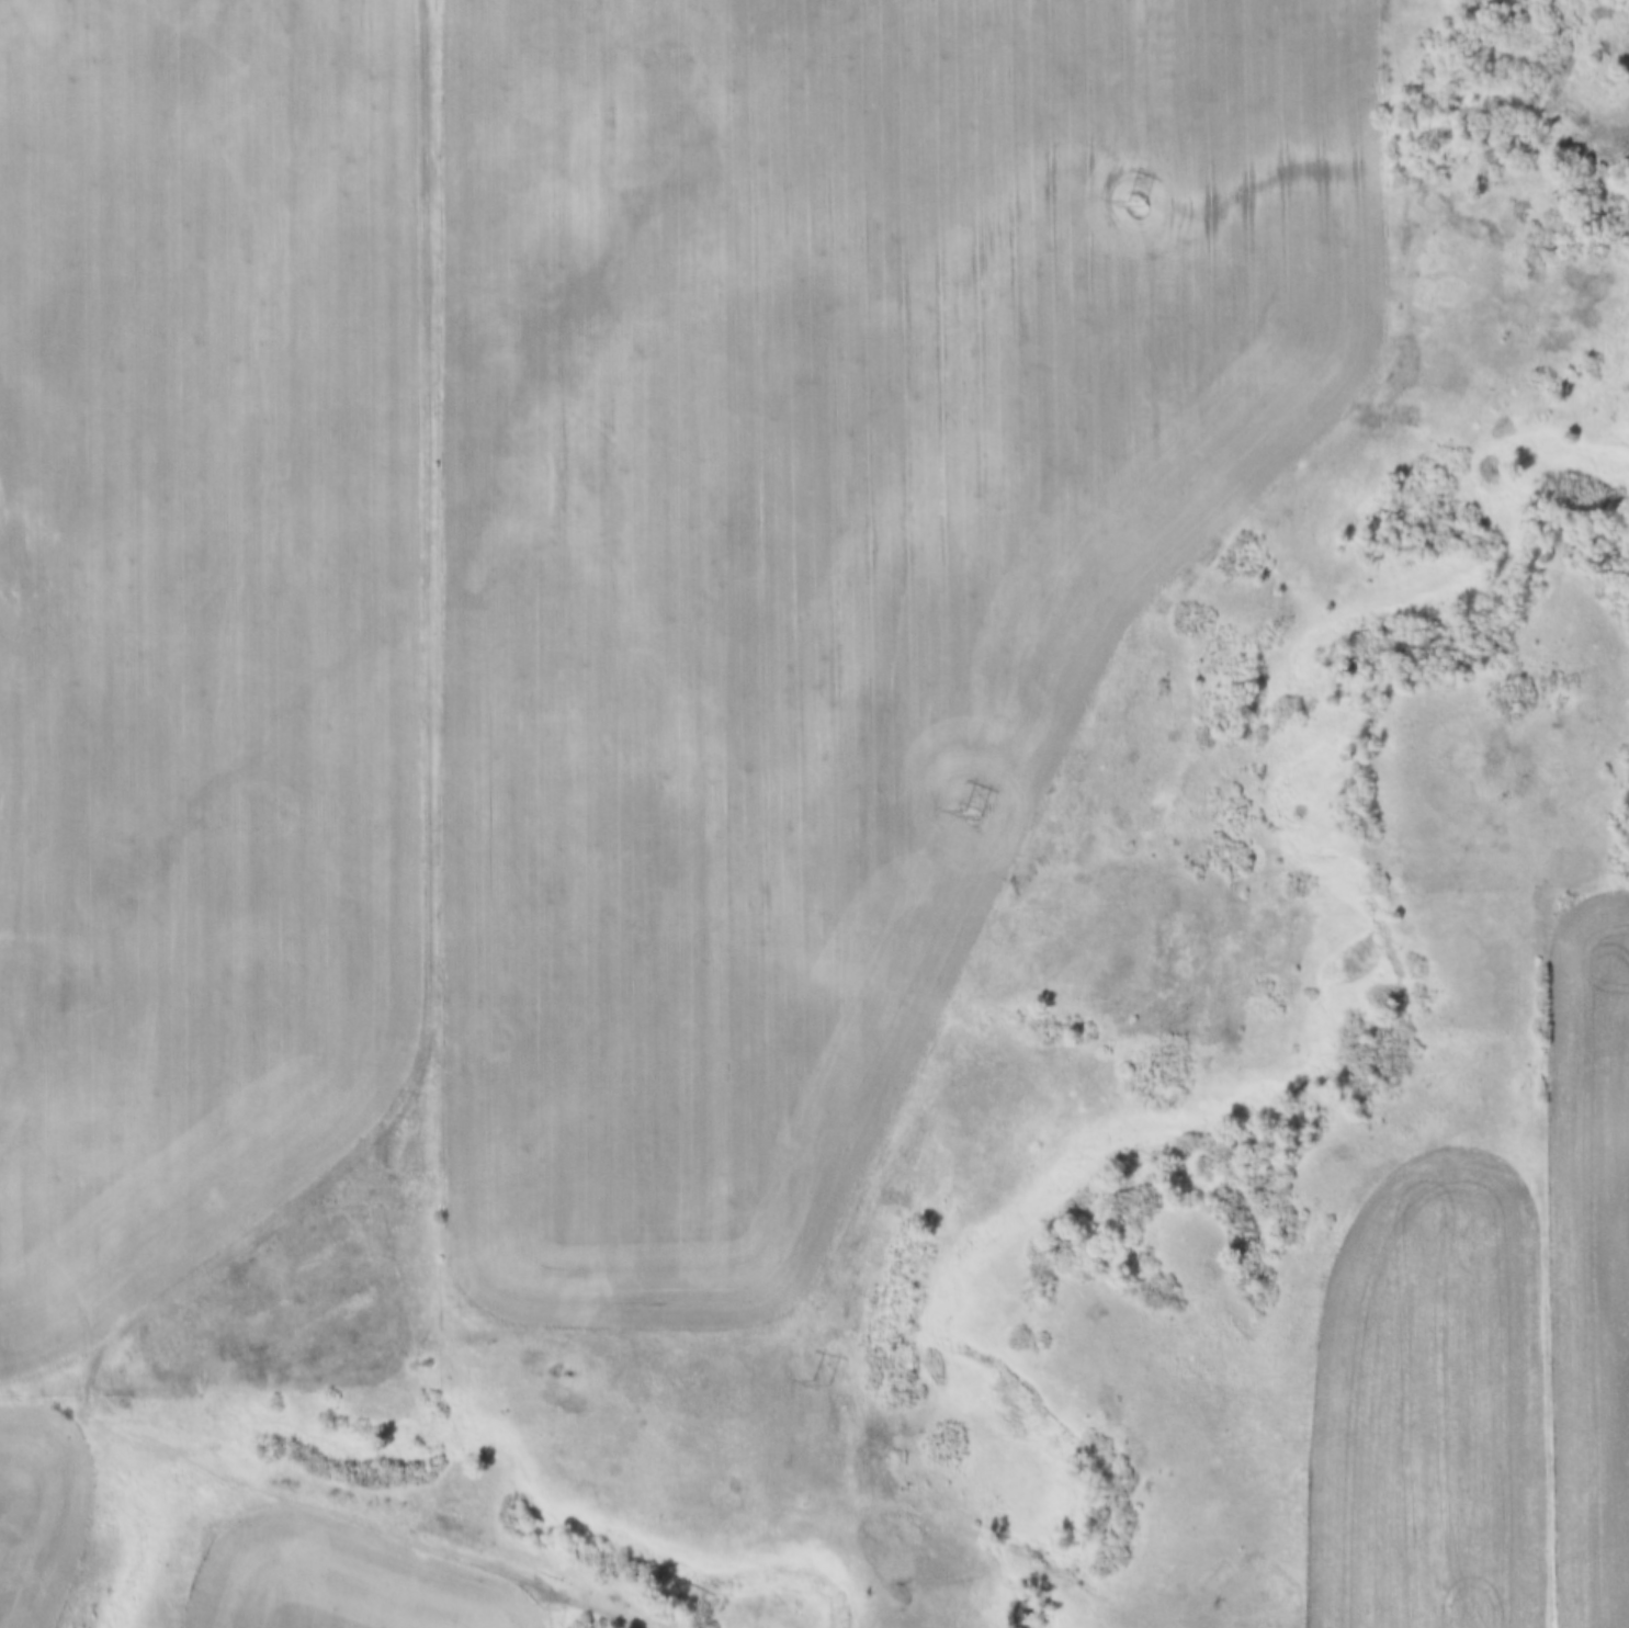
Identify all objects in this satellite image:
power tower: (1142, 196)
road: (426, 727)
power tower: (980, 819)
power tower: (833, 1388)

